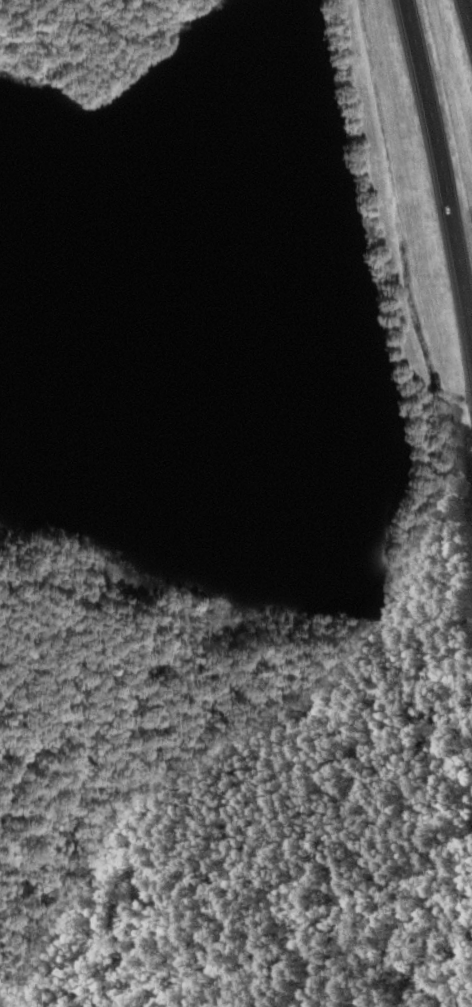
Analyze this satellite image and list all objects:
road: (470, 7)
road: (441, 149)

